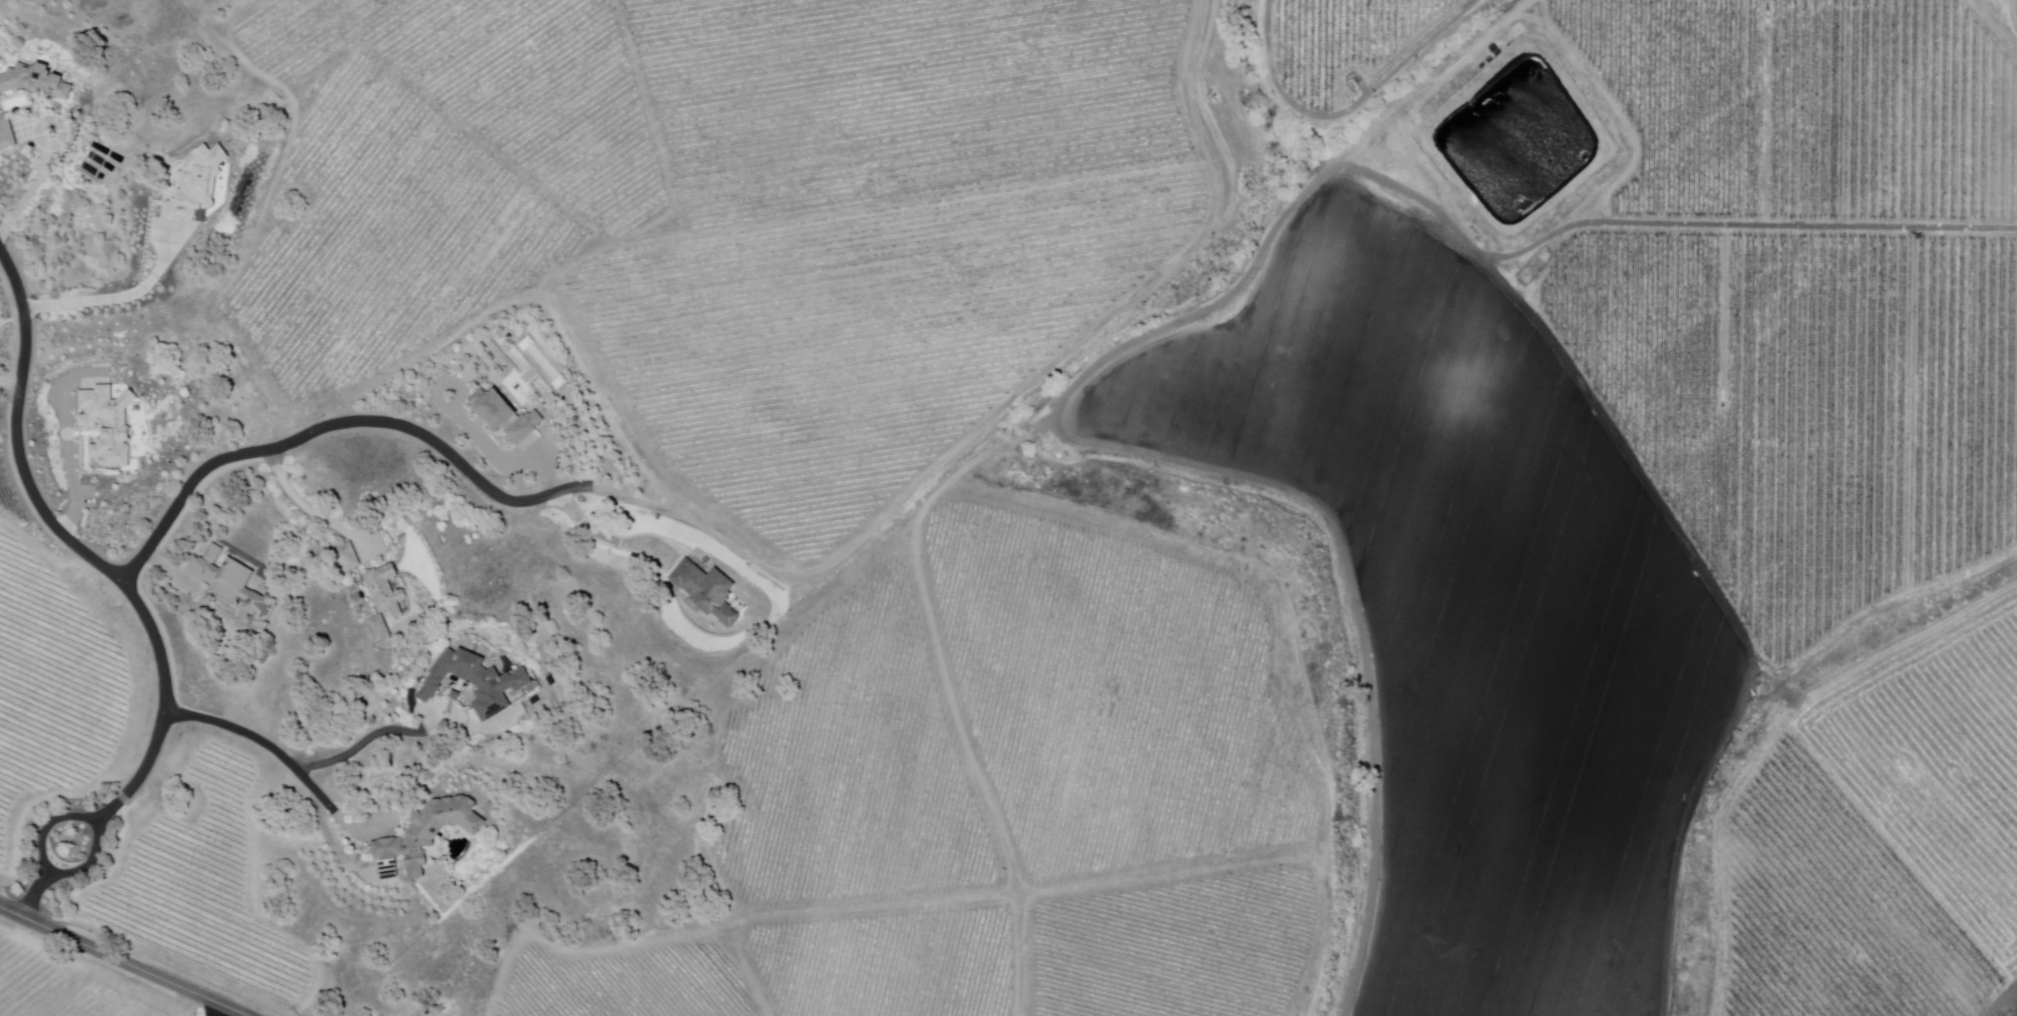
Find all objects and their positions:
road: (2013, 16)
building: (35, 82)
road: (56, 122)
building: (6, 134)
building: (197, 183)
road: (30, 195)
road: (3, 325)
road: (1, 327)
road: (11, 383)
building: (506, 418)
building: (108, 421)
road: (338, 425)
road: (309, 511)
road: (80, 551)
building: (347, 561)
building: (234, 587)
building: (385, 591)
building: (710, 591)
crop: (1474, 605)
building: (380, 630)
building: (477, 683)
road: (371, 740)
road: (285, 762)
road: (92, 821)
building: (430, 834)
road: (35, 895)
road: (122, 961)
road: (223, 1011)

